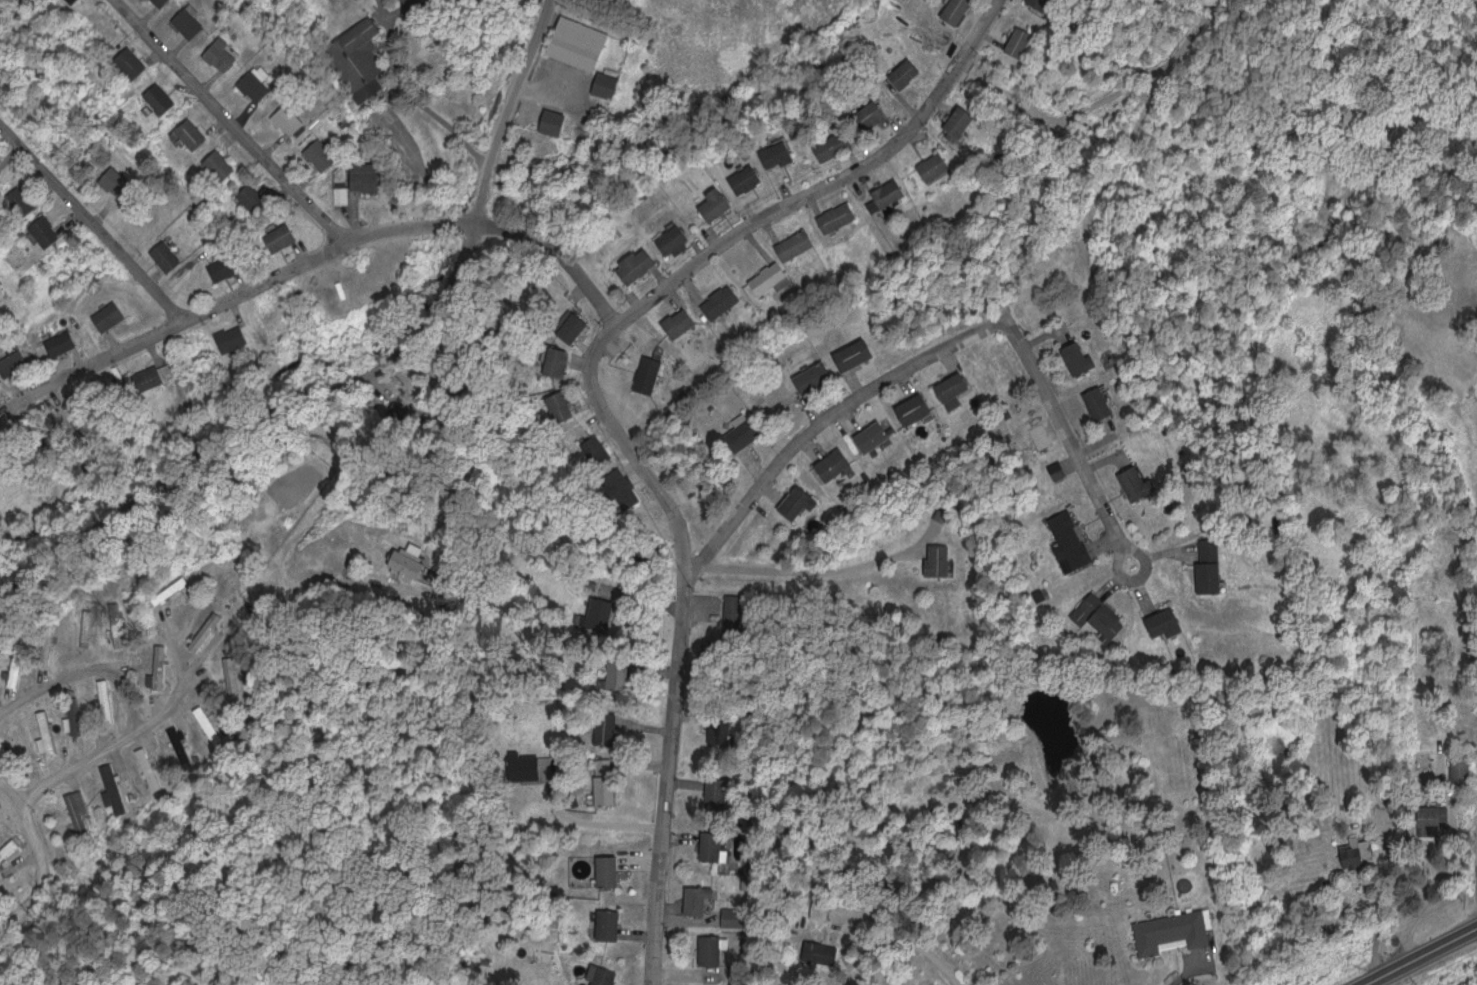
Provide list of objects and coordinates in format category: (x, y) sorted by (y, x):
building: (164, 2)
building: (170, 2)
building: (422, 3)
building: (1049, 3)
building: (963, 10)
building: (198, 21)
building: (1027, 40)
building: (586, 42)
building: (230, 53)
building: (364, 59)
building: (140, 61)
building: (911, 72)
building: (263, 83)
building: (613, 84)
road: (413, 93)
building: (168, 98)
road: (502, 110)
building: (878, 113)
building: (299, 118)
building: (562, 120)
road: (229, 122)
building: (965, 122)
building: (199, 133)
building: (839, 145)
building: (329, 153)
building: (783, 154)
building: (228, 164)
building: (940, 166)
building: (4, 172)
building: (373, 176)
building: (753, 179)
building: (125, 181)
building: (348, 194)
building: (894, 194)
building: (261, 198)
building: (30, 202)
building: (722, 204)
road: (356, 211)
building: (843, 216)
road: (90, 222)
building: (54, 230)
building: (288, 236)
building: (679, 239)
building: (802, 244)
building: (174, 255)
road: (701, 255)
building: (643, 265)
building: (232, 266)
building: (775, 277)
road: (264, 280)
road: (582, 283)
building: (726, 300)
building: (116, 315)
building: (686, 322)
building: (579, 326)
building: (238, 337)
building: (68, 341)
building: (861, 353)
building: (1086, 357)
building: (562, 360)
building: (21, 361)
building: (656, 373)
building: (159, 374)
building: (820, 377)
building: (961, 387)
building: (1107, 402)
building: (567, 405)
building: (923, 408)
road: (822, 418)
building: (753, 427)
road: (266, 428)
building: (881, 435)
road: (1069, 437)
building: (602, 449)
building: (842, 463)
road: (302, 468)
building: (1064, 469)
building: (1057, 470)
building: (1146, 482)
building: (633, 491)
building: (806, 501)
building: (1077, 541)
building: (945, 559)
building: (416, 563)
building: (1217, 566)
road: (808, 578)
building: (177, 590)
building: (603, 615)
building: (1106, 617)
building: (1174, 623)
building: (118, 634)
building: (125, 634)
building: (16, 663)
building: (23, 663)
building: (164, 668)
building: (158, 669)
road: (86, 673)
building: (230, 674)
building: (237, 674)
building: (622, 674)
building: (111, 701)
building: (105, 702)
building: (613, 728)
building: (51, 729)
building: (727, 729)
building: (45, 730)
building: (218, 731)
building: (211, 732)
building: (186, 746)
building: (179, 747)
building: (533, 767)
building: (148, 768)
building: (155, 768)
building: (1467, 768)
road: (663, 779)
building: (110, 781)
building: (117, 781)
road: (45, 786)
building: (613, 789)
building: (724, 792)
road: (6, 799)
building: (85, 802)
road: (594, 820)
building: (1439, 820)
building: (719, 845)
building: (12, 851)
building: (1364, 851)
building: (616, 869)
building: (706, 897)
building: (827, 909)
building: (741, 916)
building: (616, 923)
building: (1182, 931)
road: (913, 938)
building: (719, 949)
building: (829, 952)
road: (1418, 955)
building: (611, 975)

